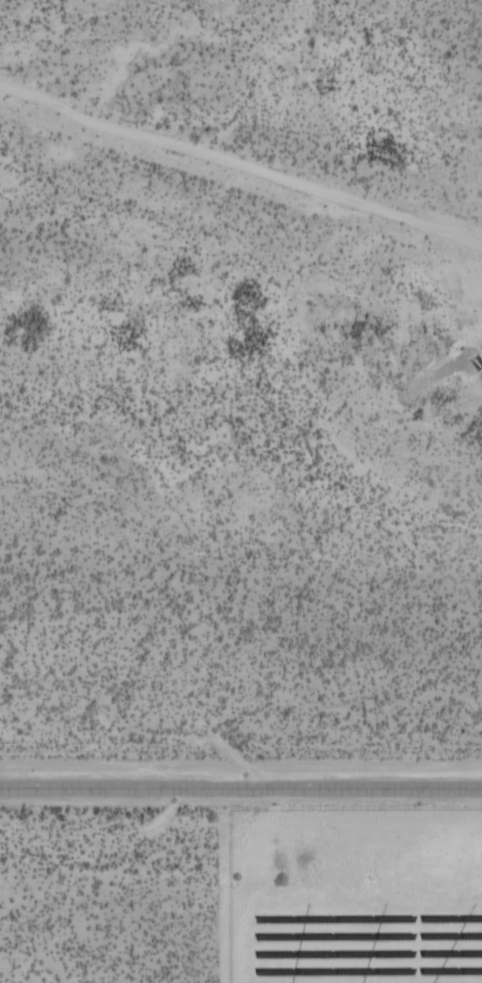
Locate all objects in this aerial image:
road: (241, 788)

